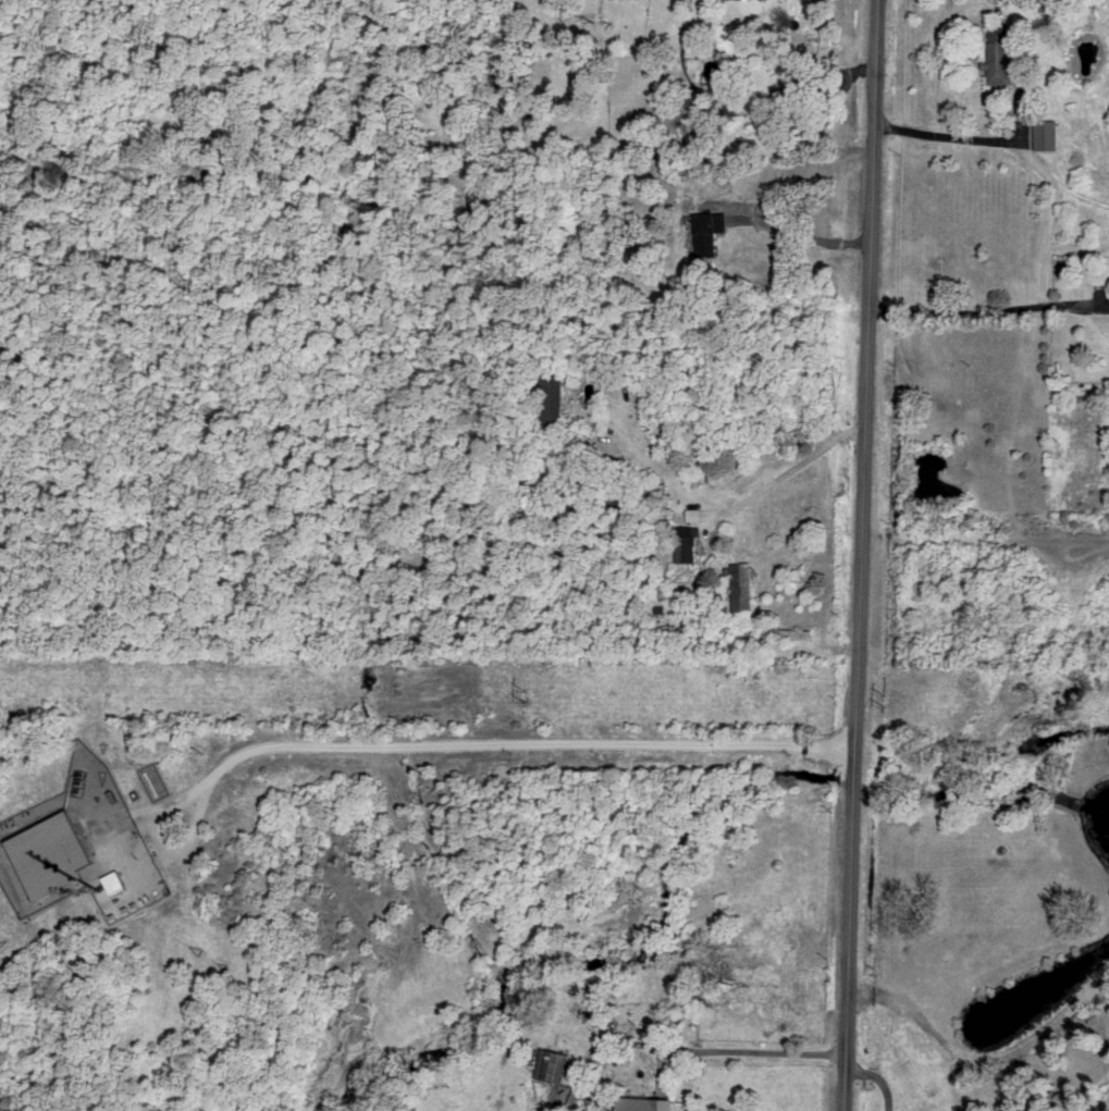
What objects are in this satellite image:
building: (1044, 4)
building: (995, 53)
building: (793, 83)
building: (1042, 134)
road: (984, 143)
building: (703, 230)
road: (793, 235)
road: (987, 313)
building: (553, 396)
road: (791, 465)
building: (687, 542)
road: (985, 542)
road: (862, 555)
building: (743, 584)
road: (459, 745)
building: (54, 853)
building: (115, 880)
road: (931, 1029)
road: (740, 1054)
building: (552, 1063)
building: (577, 1095)
building: (650, 1103)

